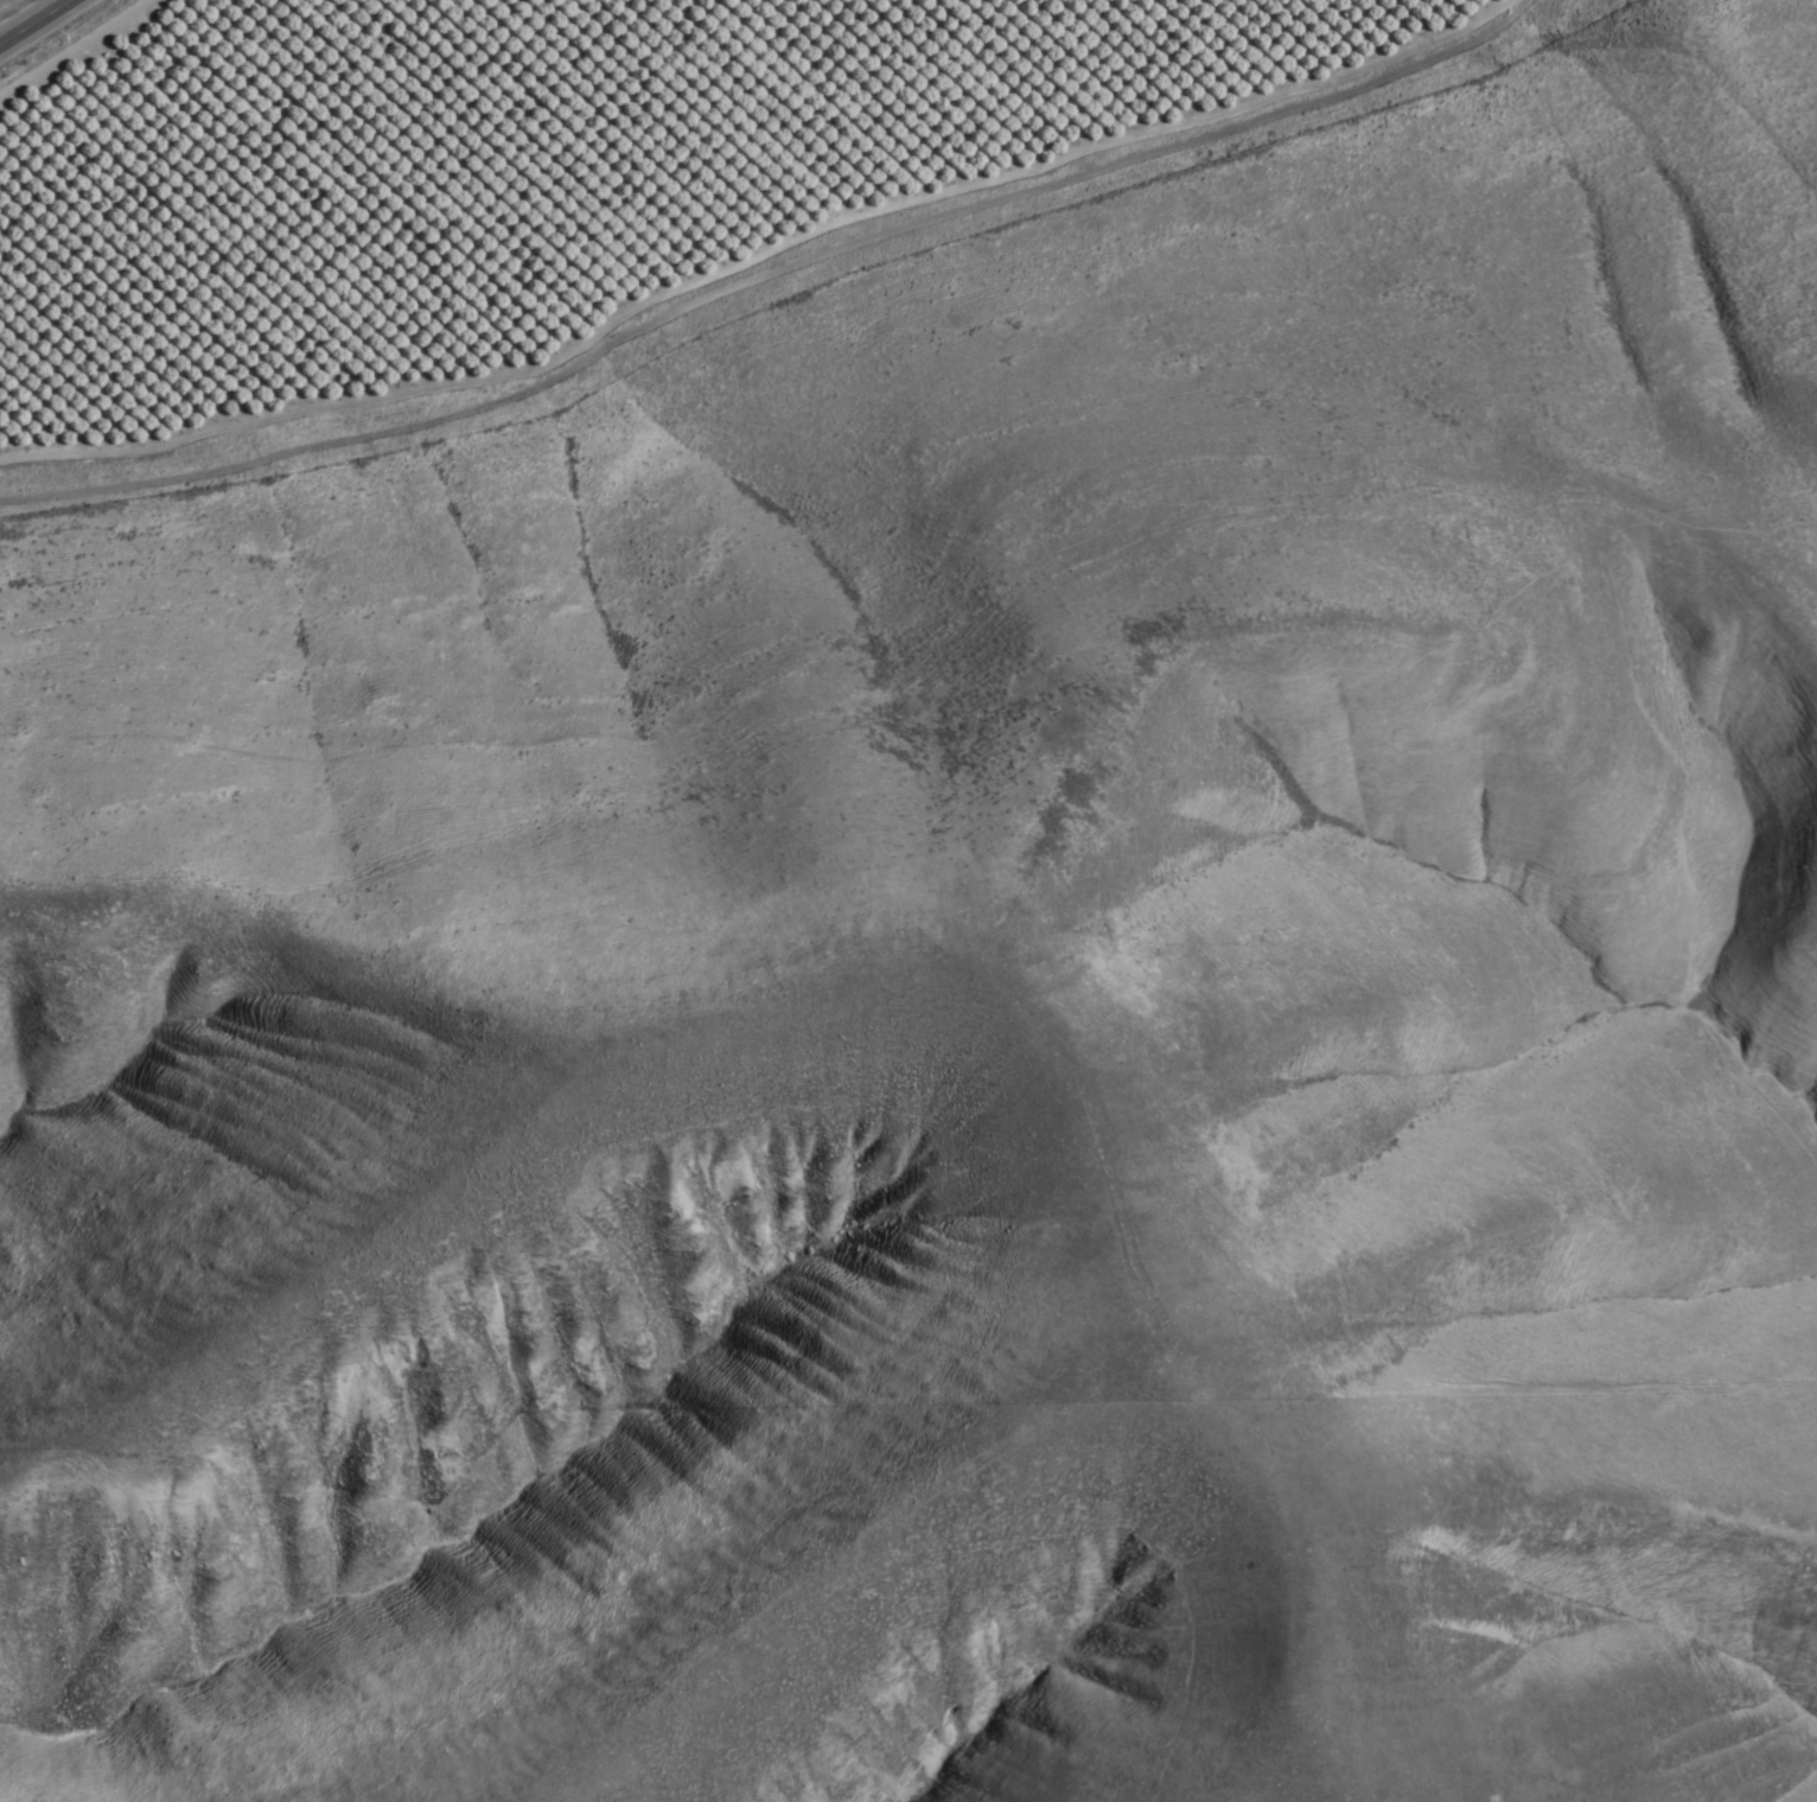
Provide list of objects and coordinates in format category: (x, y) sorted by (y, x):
crop: (6, 4)
road: (31, 20)

